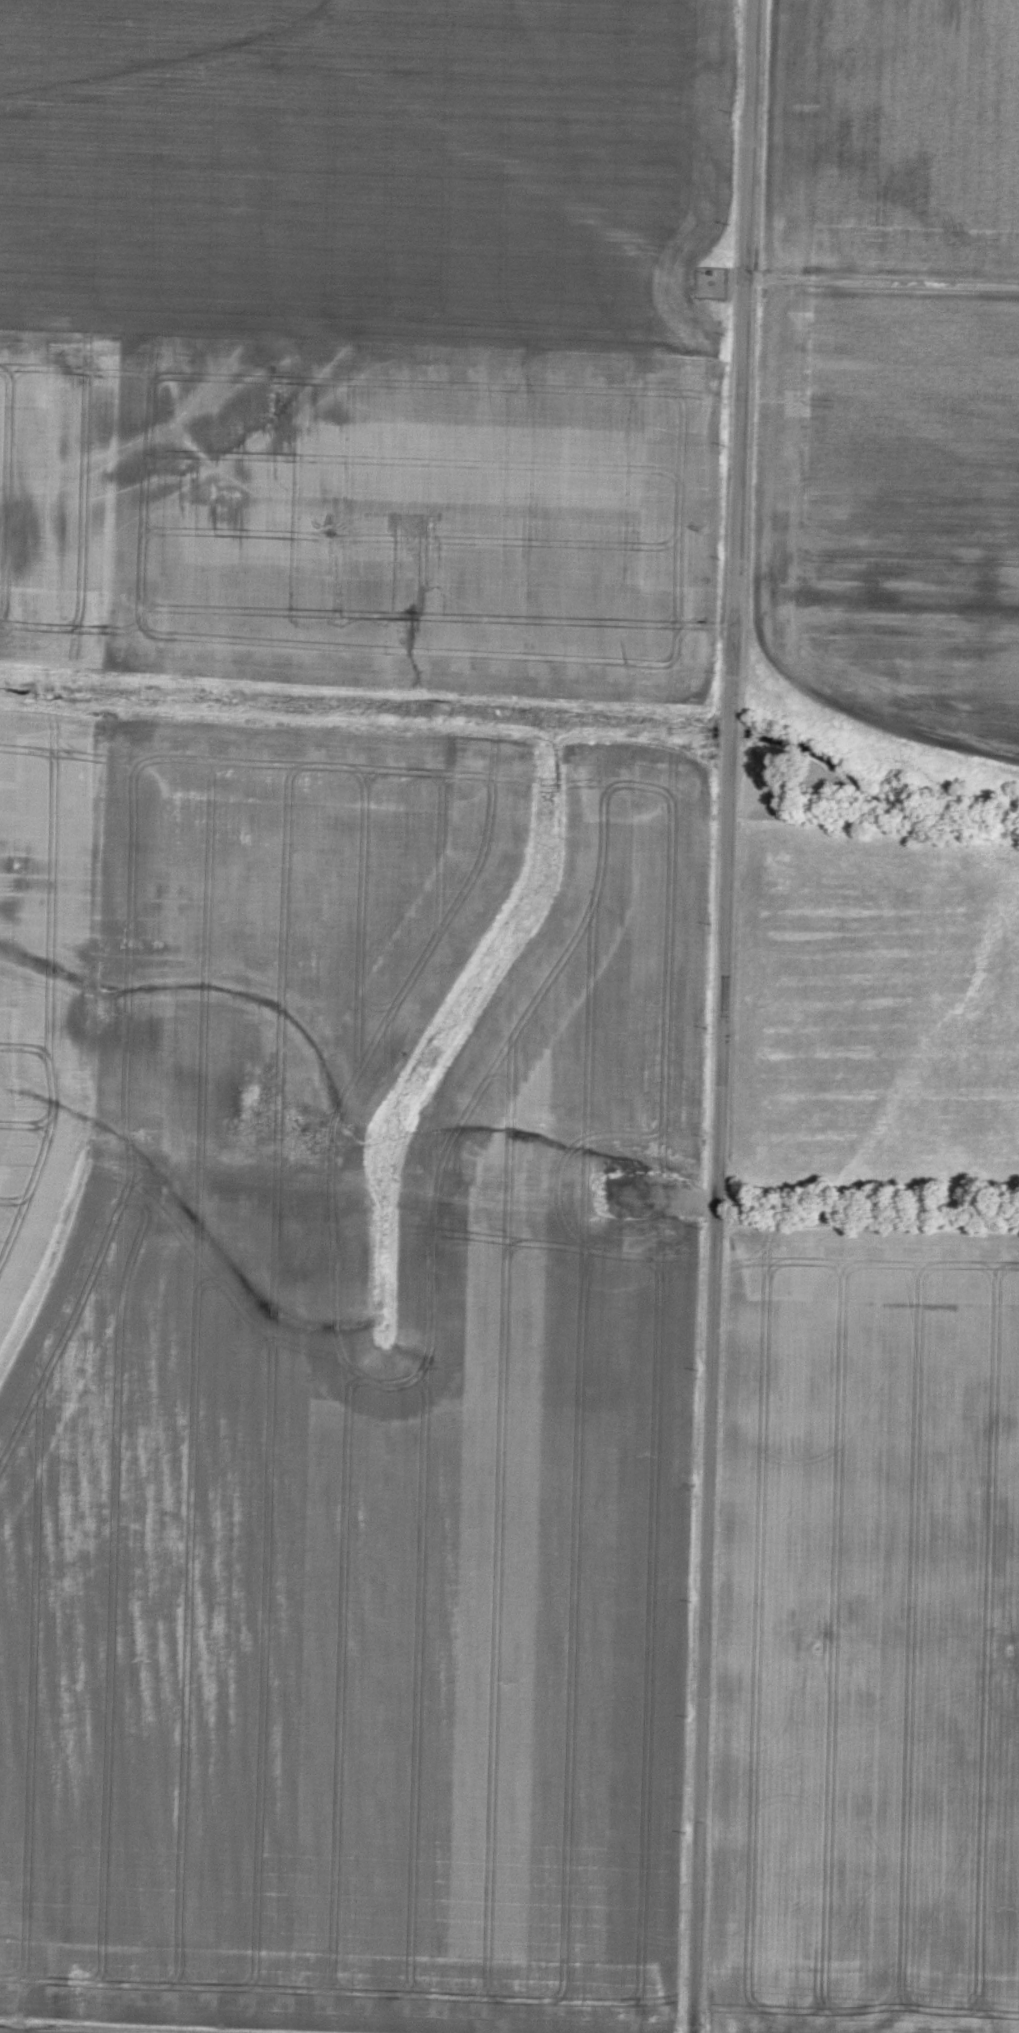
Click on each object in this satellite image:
road: (720, 1016)
road: (866, 1207)
road: (21, 2032)

